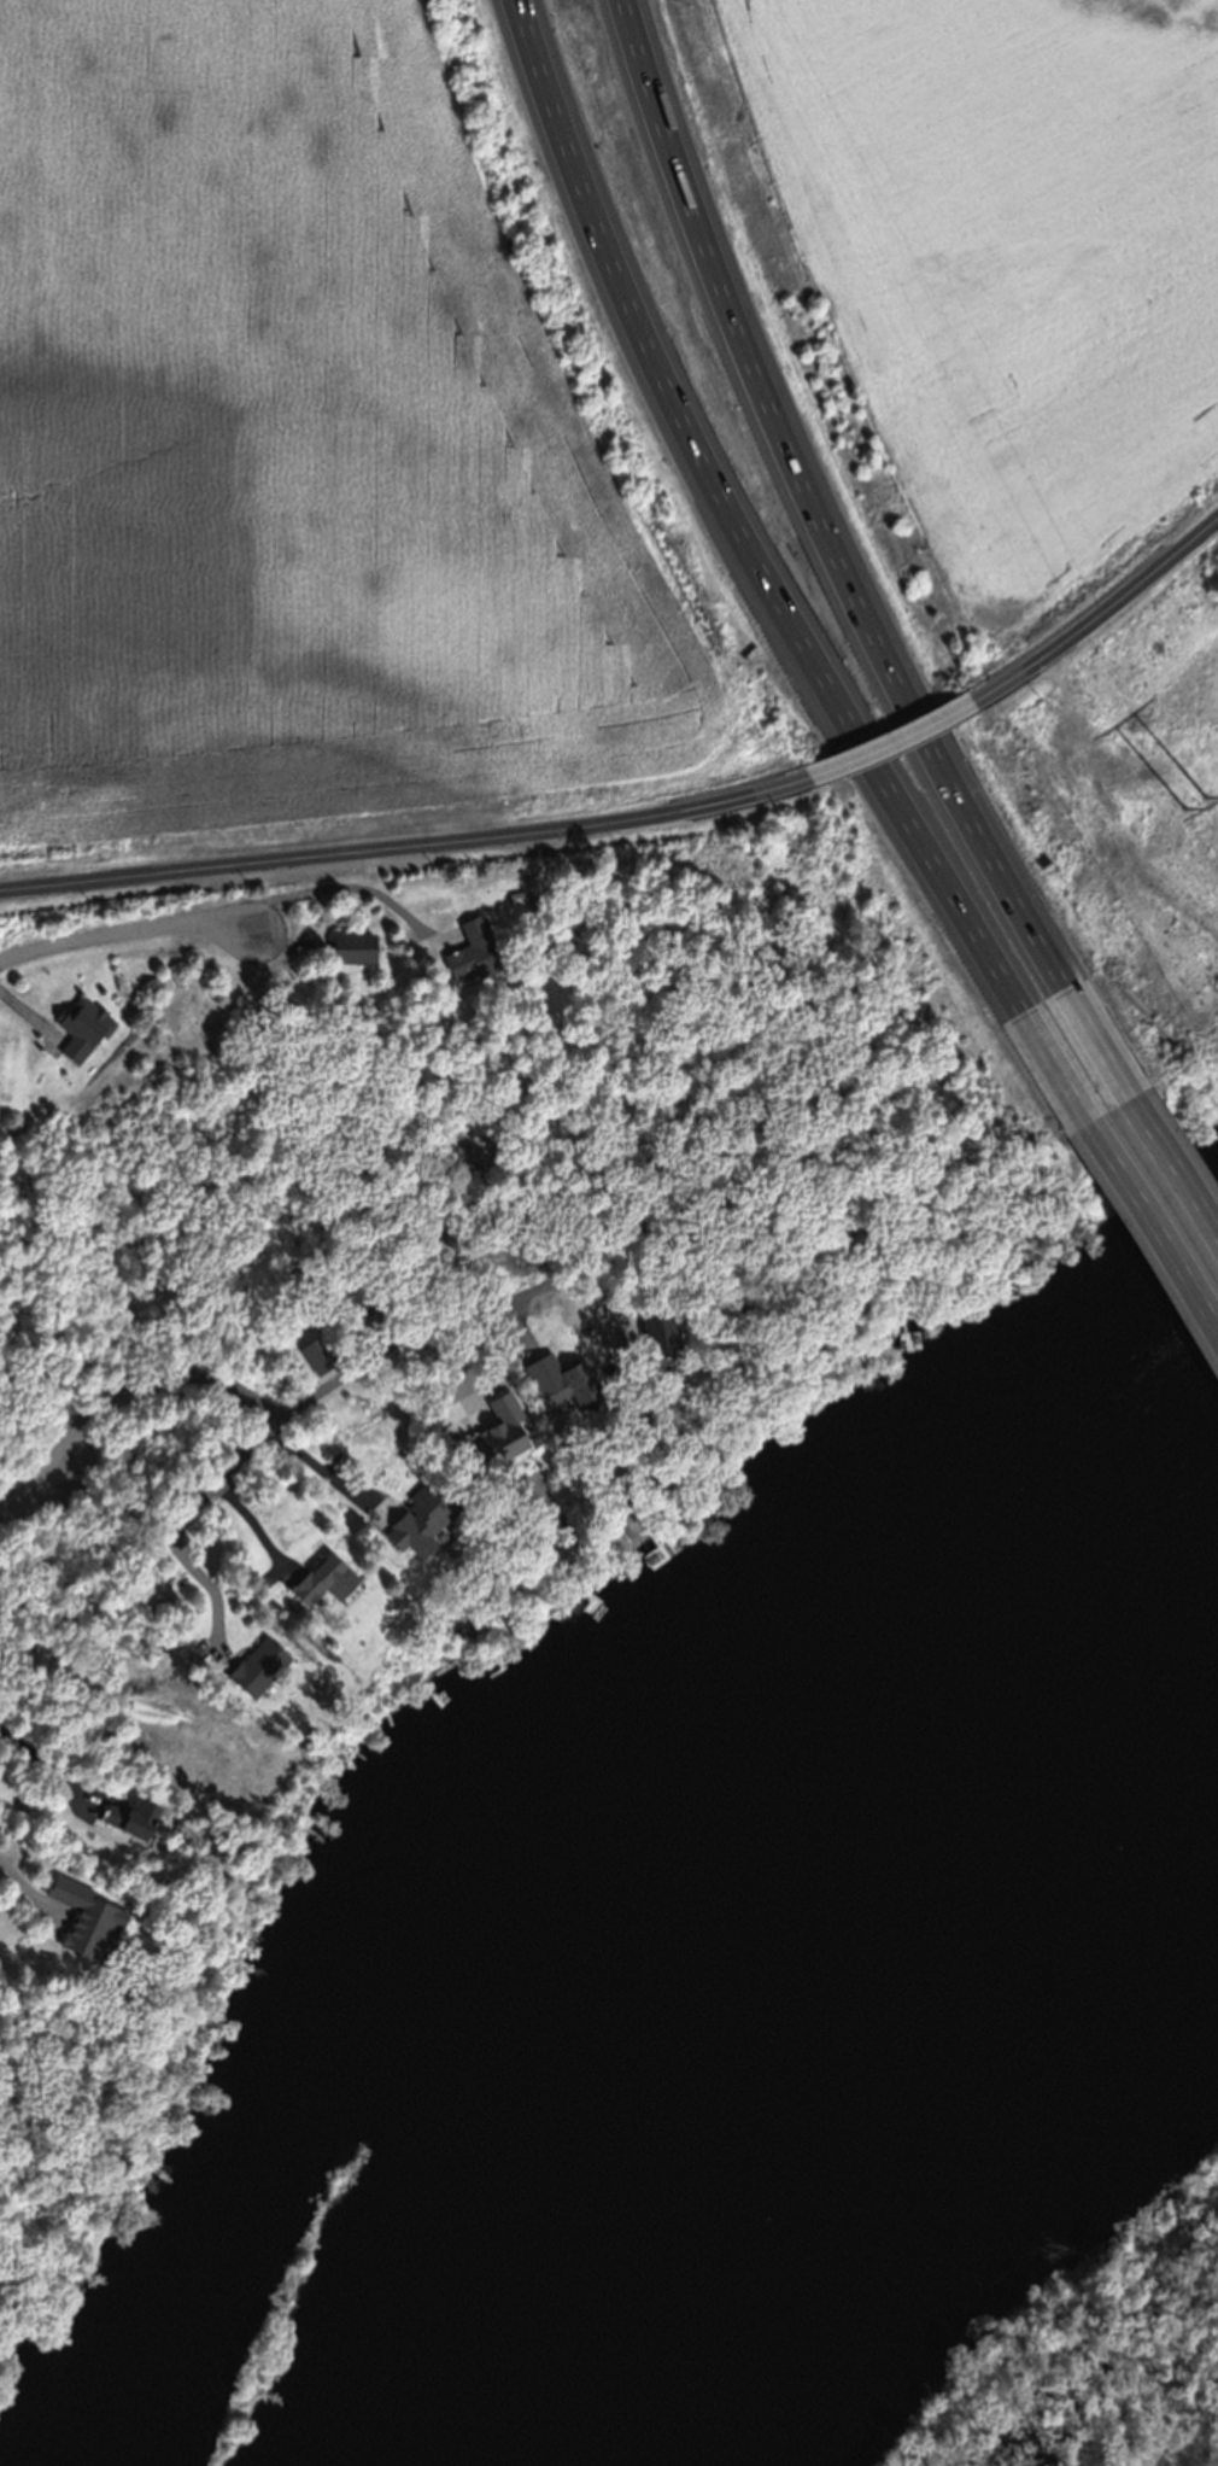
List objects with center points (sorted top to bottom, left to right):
road: (818, 522)
road: (749, 548)
road: (1106, 623)
road: (898, 744)
power tower: (1194, 802)
road: (408, 847)
road: (345, 890)
road: (118, 934)
building: (353, 953)
building: (473, 958)
building: (82, 1033)
road: (1149, 1130)
road: (1135, 1200)
road: (433, 1330)
building: (667, 1337)
building: (317, 1360)
building: (568, 1390)
road: (121, 1397)
building: (505, 1434)
road: (317, 1465)
road: (169, 1526)
building: (415, 1532)
building: (326, 1585)
building: (258, 1672)
road: (45, 1757)
building: (133, 1824)
road: (19, 1877)
building: (88, 1926)
river: (919, 1962)

